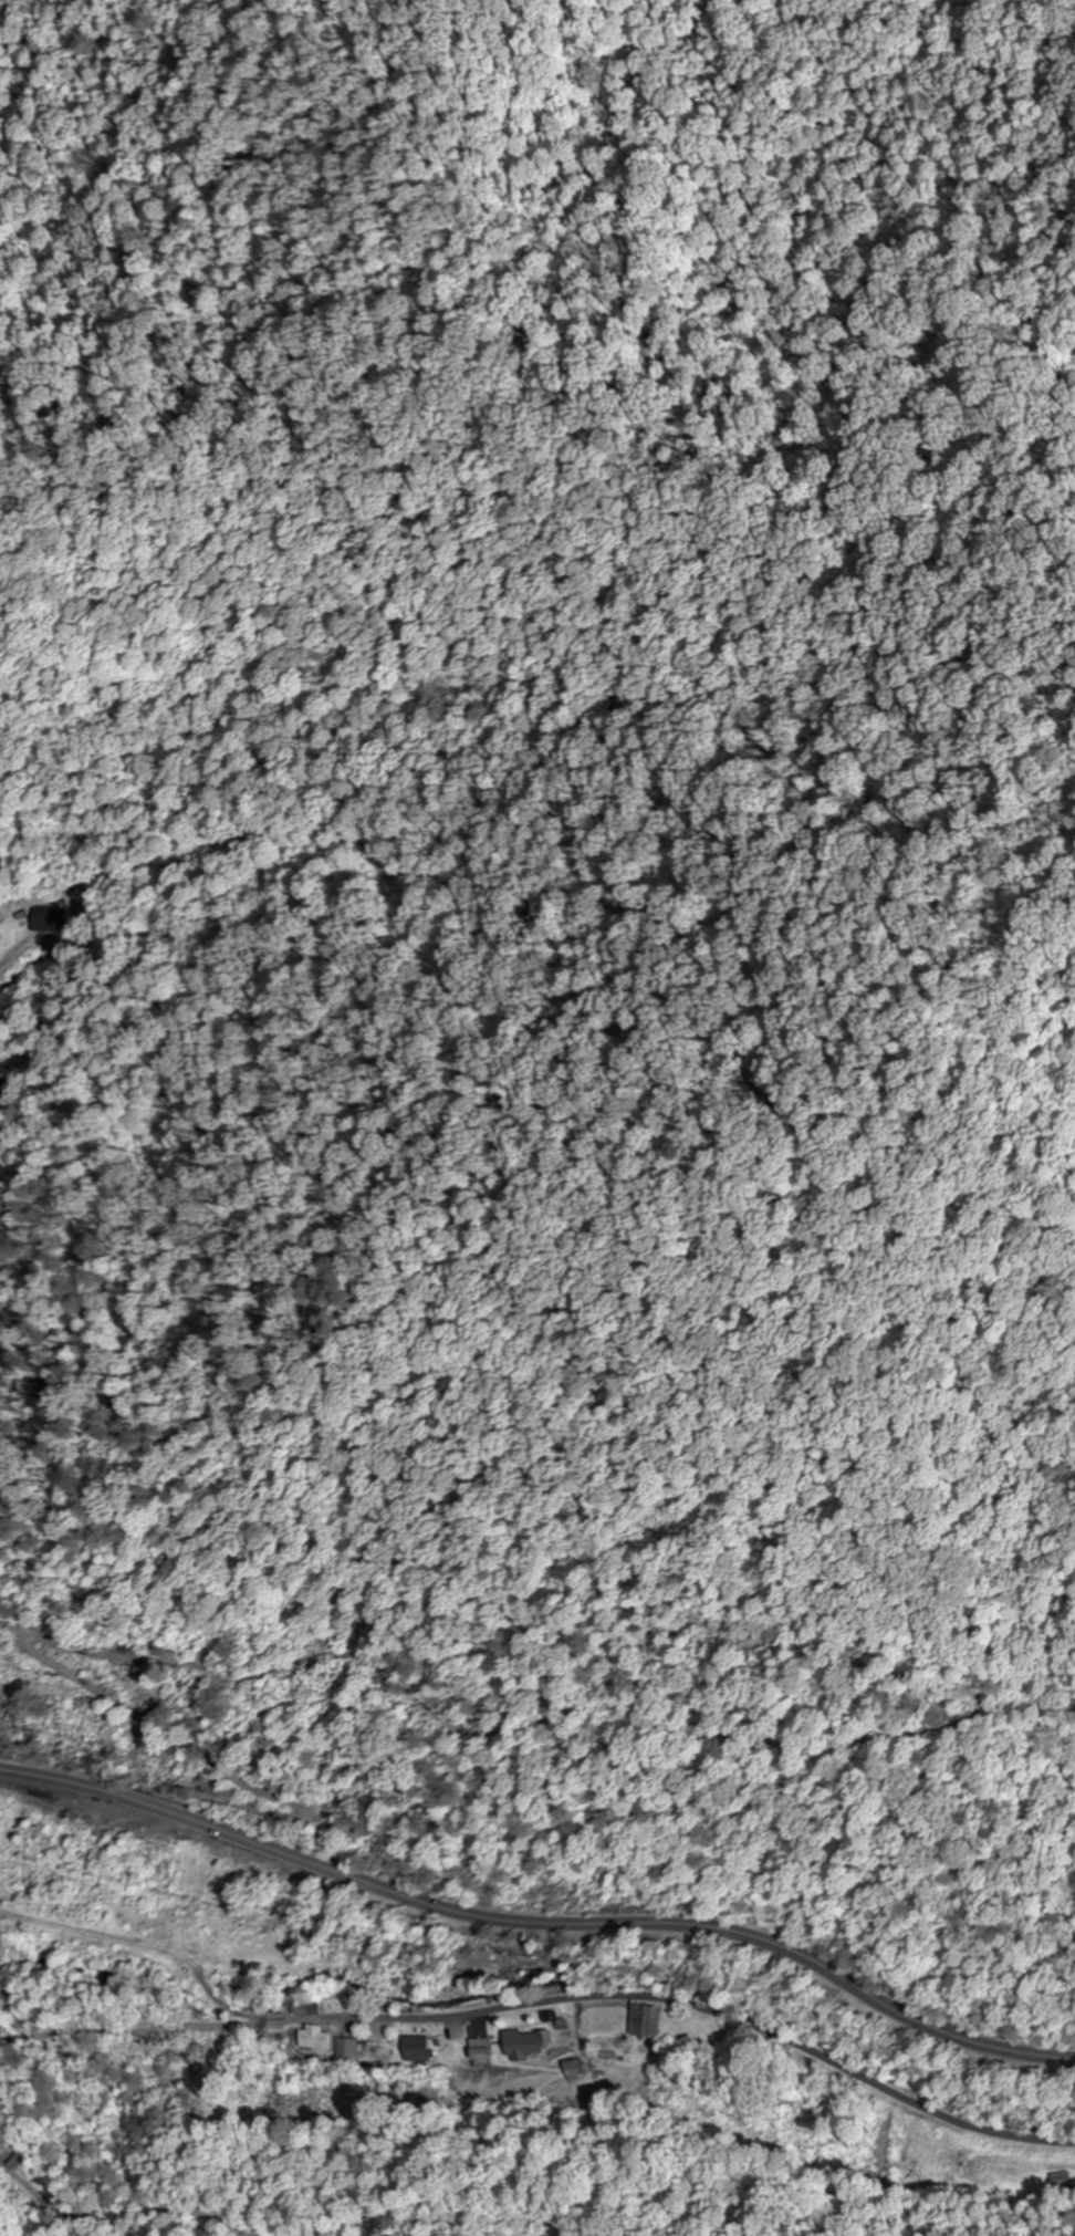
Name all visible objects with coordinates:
building: (45, 919)
road: (540, 1923)
road: (720, 2010)
building: (316, 2042)
building: (530, 2045)
building: (351, 2048)
building: (481, 2053)
building: (578, 2070)

